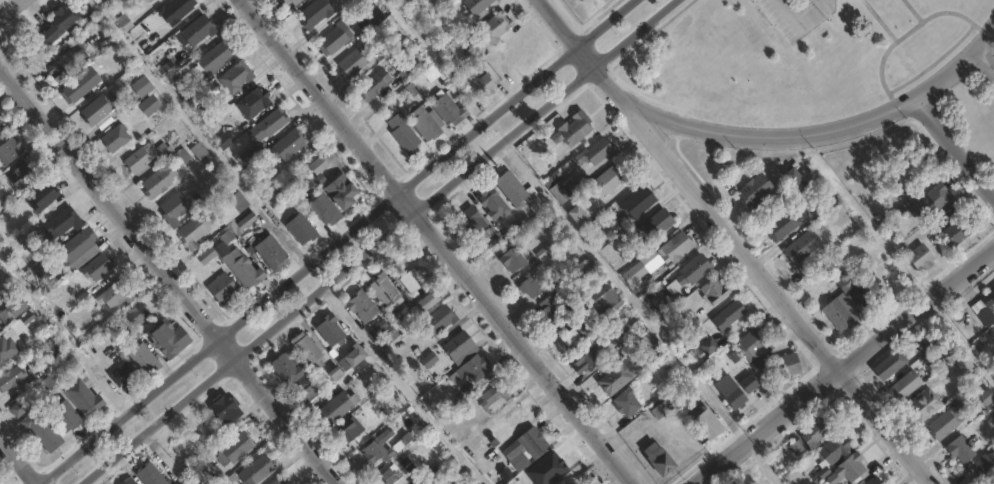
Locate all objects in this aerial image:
building: (148, 1)
building: (290, 2)
building: (476, 7)
building: (174, 10)
road: (13, 11)
building: (313, 13)
building: (373, 16)
building: (123, 22)
building: (56, 25)
building: (493, 26)
building: (197, 29)
building: (333, 39)
park: (791, 56)
building: (214, 57)
road: (984, 62)
building: (351, 63)
building: (57, 68)
building: (166, 70)
building: (234, 75)
building: (373, 85)
building: (482, 85)
building: (140, 86)
building: (76, 87)
building: (252, 102)
building: (148, 105)
building: (96, 109)
building: (448, 110)
park: (972, 121)
building: (425, 123)
building: (268, 124)
building: (1, 127)
road: (825, 127)
building: (571, 130)
road: (198, 132)
road: (470, 133)
building: (403, 135)
building: (114, 137)
building: (286, 144)
building: (8, 150)
road: (951, 150)
building: (595, 151)
building: (200, 154)
building: (249, 156)
building: (138, 158)
building: (317, 166)
building: (543, 169)
building: (906, 169)
building: (17, 177)
building: (610, 178)
building: (794, 179)
building: (157, 181)
building: (562, 188)
building: (341, 189)
building: (754, 191)
building: (519, 193)
building: (41, 197)
building: (932, 200)
building: (237, 202)
building: (637, 202)
building: (491, 203)
building: (172, 209)
building: (323, 210)
building: (576, 215)
building: (472, 221)
building: (61, 222)
building: (240, 223)
building: (655, 224)
building: (515, 225)
building: (782, 225)
building: (299, 229)
building: (192, 231)
building: (957, 231)
building: (486, 238)
road: (439, 241)
road: (733, 242)
road: (382, 243)
building: (801, 246)
building: (675, 247)
building: (77, 249)
building: (610, 251)
building: (269, 253)
building: (206, 256)
building: (920, 256)
building: (513, 259)
building: (641, 267)
building: (96, 268)
building: (242, 269)
road: (902, 269)
building: (690, 272)
road: (170, 278)
building: (413, 284)
building: (529, 286)
building: (222, 289)
building: (382, 290)
building: (714, 291)
road: (624, 293)
building: (866, 293)
building: (116, 294)
building: (426, 301)
building: (1, 304)
building: (663, 305)
building: (360, 306)
building: (841, 307)
building: (987, 308)
building: (552, 309)
building: (11, 311)
building: (597, 312)
building: (414, 314)
building: (136, 315)
building: (728, 316)
building: (438, 320)
building: (689, 320)
building: (329, 330)
building: (991, 332)
building: (167, 339)
building: (569, 339)
road: (960, 340)
building: (756, 343)
building: (923, 343)
building: (459, 346)
building: (709, 347)
building: (7, 350)
building: (306, 350)
building: (353, 356)
building: (584, 358)
building: (143, 360)
building: (963, 363)
road: (844, 364)
building: (890, 364)
building: (787, 365)
building: (758, 366)
building: (471, 369)
building: (287, 370)
road: (170, 374)
building: (617, 376)
building: (125, 378)
building: (10, 379)
building: (748, 384)
building: (906, 385)
road: (401, 386)
building: (729, 392)
building: (307, 393)
building: (495, 396)
building: (986, 397)
building: (82, 399)
building: (626, 404)
building: (924, 405)
building: (337, 407)
building: (18, 408)
building: (223, 409)
building: (661, 410)
building: (64, 416)
building: (947, 422)
building: (707, 425)
building: (40, 428)
building: (348, 429)
building: (816, 431)
building: (532, 442)
building: (232, 450)
building: (960, 450)
building: (376, 451)
building: (832, 451)
building: (519, 460)
building: (657, 460)
road: (18, 461)
building: (544, 462)
road: (762, 463)
building: (984, 466)
building: (256, 470)
building: (848, 471)
building: (149, 475)
building: (393, 476)
building: (550, 478)
building: (279, 480)
building: (873, 481)
building: (128, 482)

